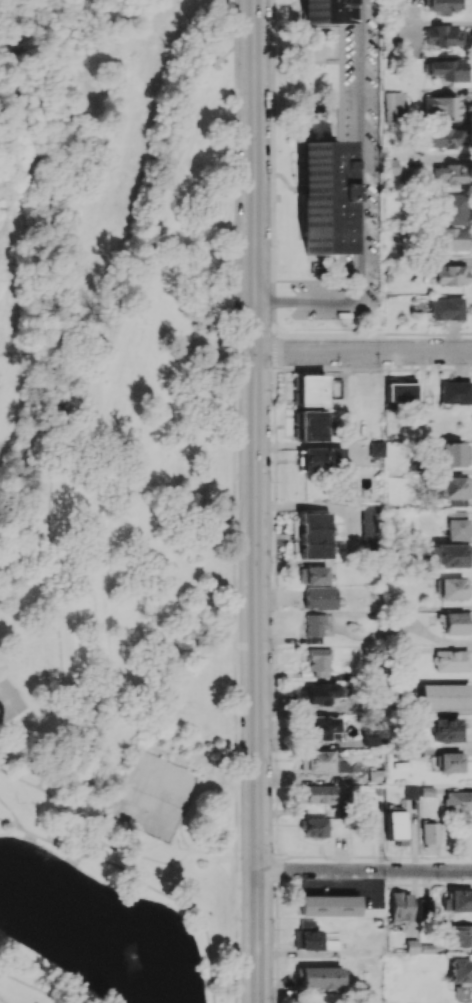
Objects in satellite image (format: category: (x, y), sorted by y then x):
building: (441, 6)
street lamp: (375, 9)
building: (318, 11)
building: (442, 36)
street lamp: (277, 49)
road: (224, 53)
street lamp: (332, 61)
street lamp: (374, 69)
building: (447, 69)
street lamp: (333, 103)
building: (393, 106)
building: (441, 108)
building: (444, 137)
street lamp: (238, 147)
road: (272, 166)
building: (389, 166)
building: (449, 174)
street lamp: (375, 182)
building: (319, 195)
road: (359, 200)
building: (454, 209)
road: (156, 223)
street lamp: (375, 228)
building: (452, 239)
street lamp: (270, 244)
building: (451, 274)
street lamp: (376, 278)
building: (446, 308)
street lamp: (308, 320)
road: (254, 334)
street lamp: (235, 347)
road: (362, 352)
street lamp: (379, 365)
street lamp: (340, 366)
street lamp: (272, 368)
building: (310, 390)
building: (399, 391)
building: (454, 392)
building: (310, 425)
building: (376, 448)
building: (453, 454)
building: (321, 459)
street lamp: (272, 482)
building: (452, 489)
road: (234, 501)
road: (253, 501)
park: (118, 503)
building: (456, 525)
building: (369, 527)
road: (48, 531)
road: (98, 535)
building: (313, 535)
street lamp: (236, 553)
building: (450, 555)
building: (312, 575)
building: (453, 588)
building: (320, 598)
building: (456, 623)
building: (396, 625)
building: (318, 626)
street lamp: (278, 651)
building: (449, 660)
building: (319, 661)
road: (274, 668)
building: (321, 693)
building: (443, 696)
park: (10, 701)
road: (2, 727)
building: (322, 727)
building: (445, 729)
building: (371, 740)
street lamp: (237, 753)
building: (316, 761)
building: (449, 762)
building: (376, 775)
building: (418, 791)
building: (317, 793)
park: (152, 796)
building: (458, 800)
road: (82, 804)
road: (11, 813)
building: (369, 818)
building: (395, 826)
building: (315, 827)
building: (429, 834)
road: (183, 838)
road: (109, 845)
road: (100, 851)
street lamp: (272, 853)
street lamp: (325, 858)
road: (363, 869)
road: (142, 881)
building: (458, 900)
building: (326, 905)
building: (400, 906)
building: (425, 909)
street lamp: (238, 918)
building: (307, 936)
building: (460, 936)
building: (411, 946)
fountain: (141, 951)
building: (460, 970)
building: (320, 976)
road: (30, 987)
building: (461, 992)
road: (1, 1000)

